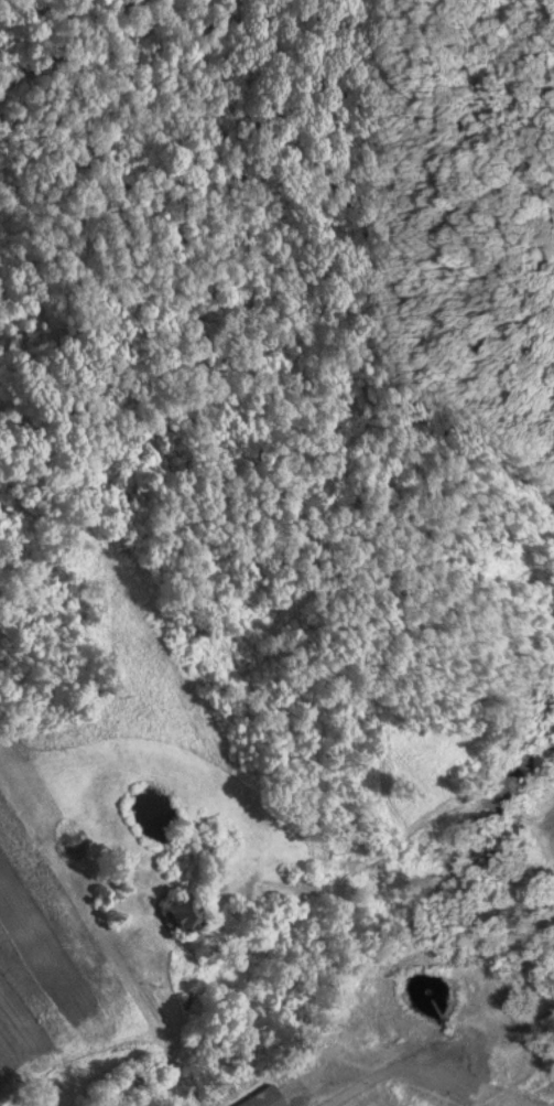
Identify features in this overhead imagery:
crop: (543, 824)
building: (173, 904)
crop: (54, 951)
road: (275, 975)
crop: (406, 1040)
road: (489, 1060)
road: (360, 1082)
building: (254, 1094)

